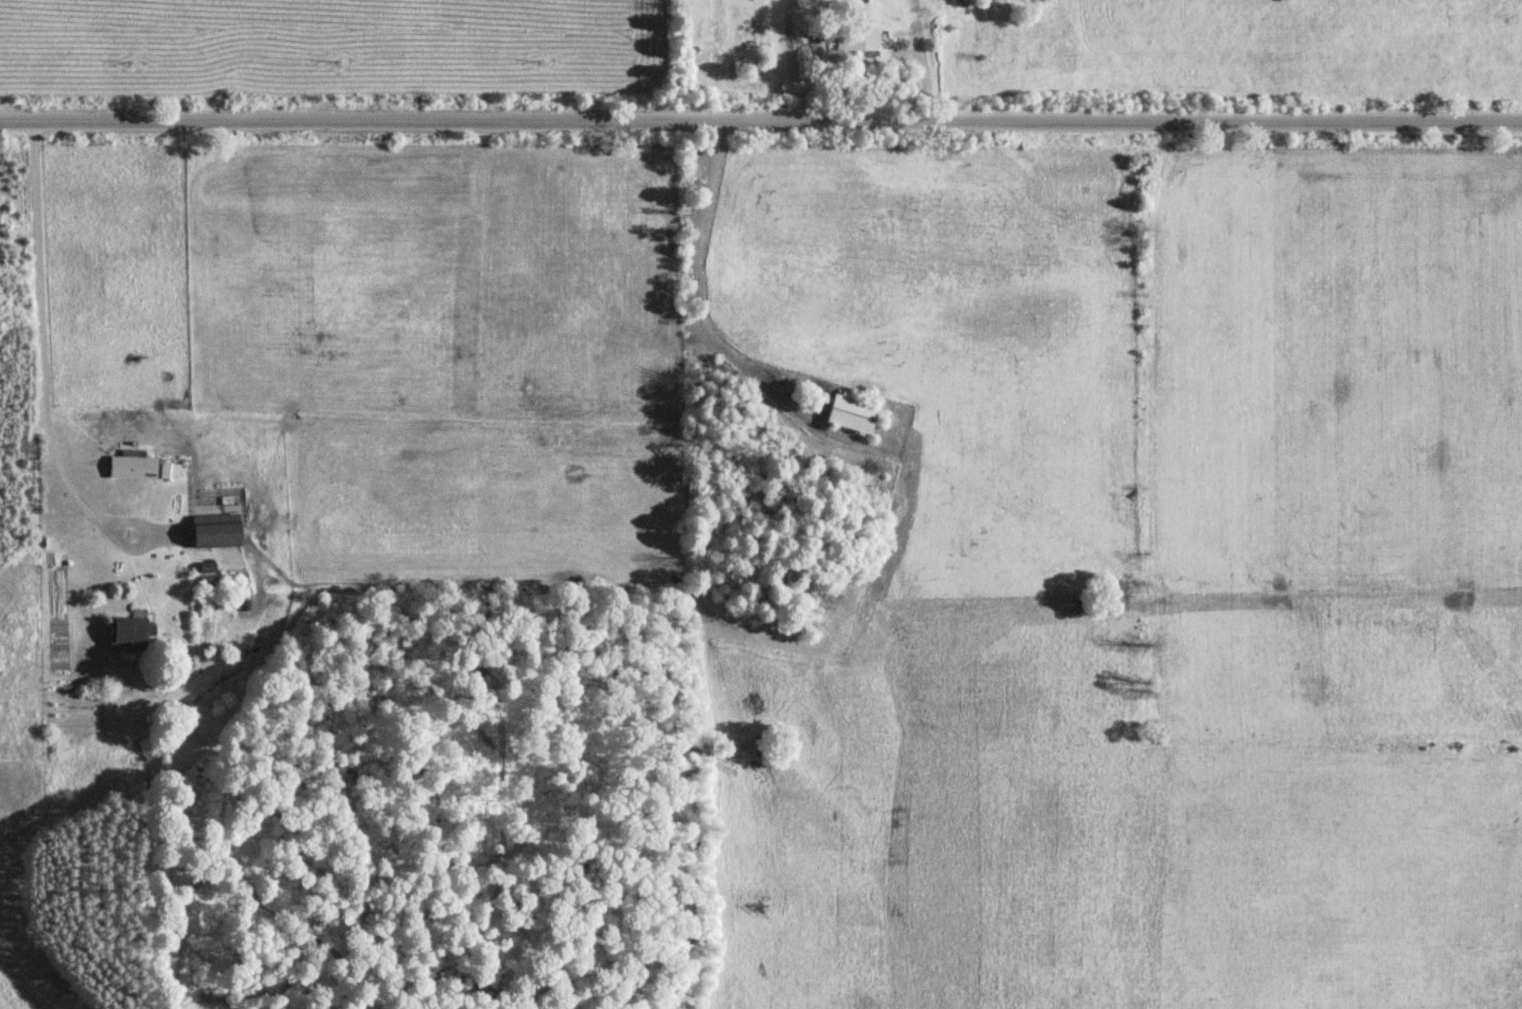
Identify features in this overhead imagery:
road: (761, 133)
building: (848, 414)
building: (129, 466)
building: (210, 530)
building: (127, 632)

